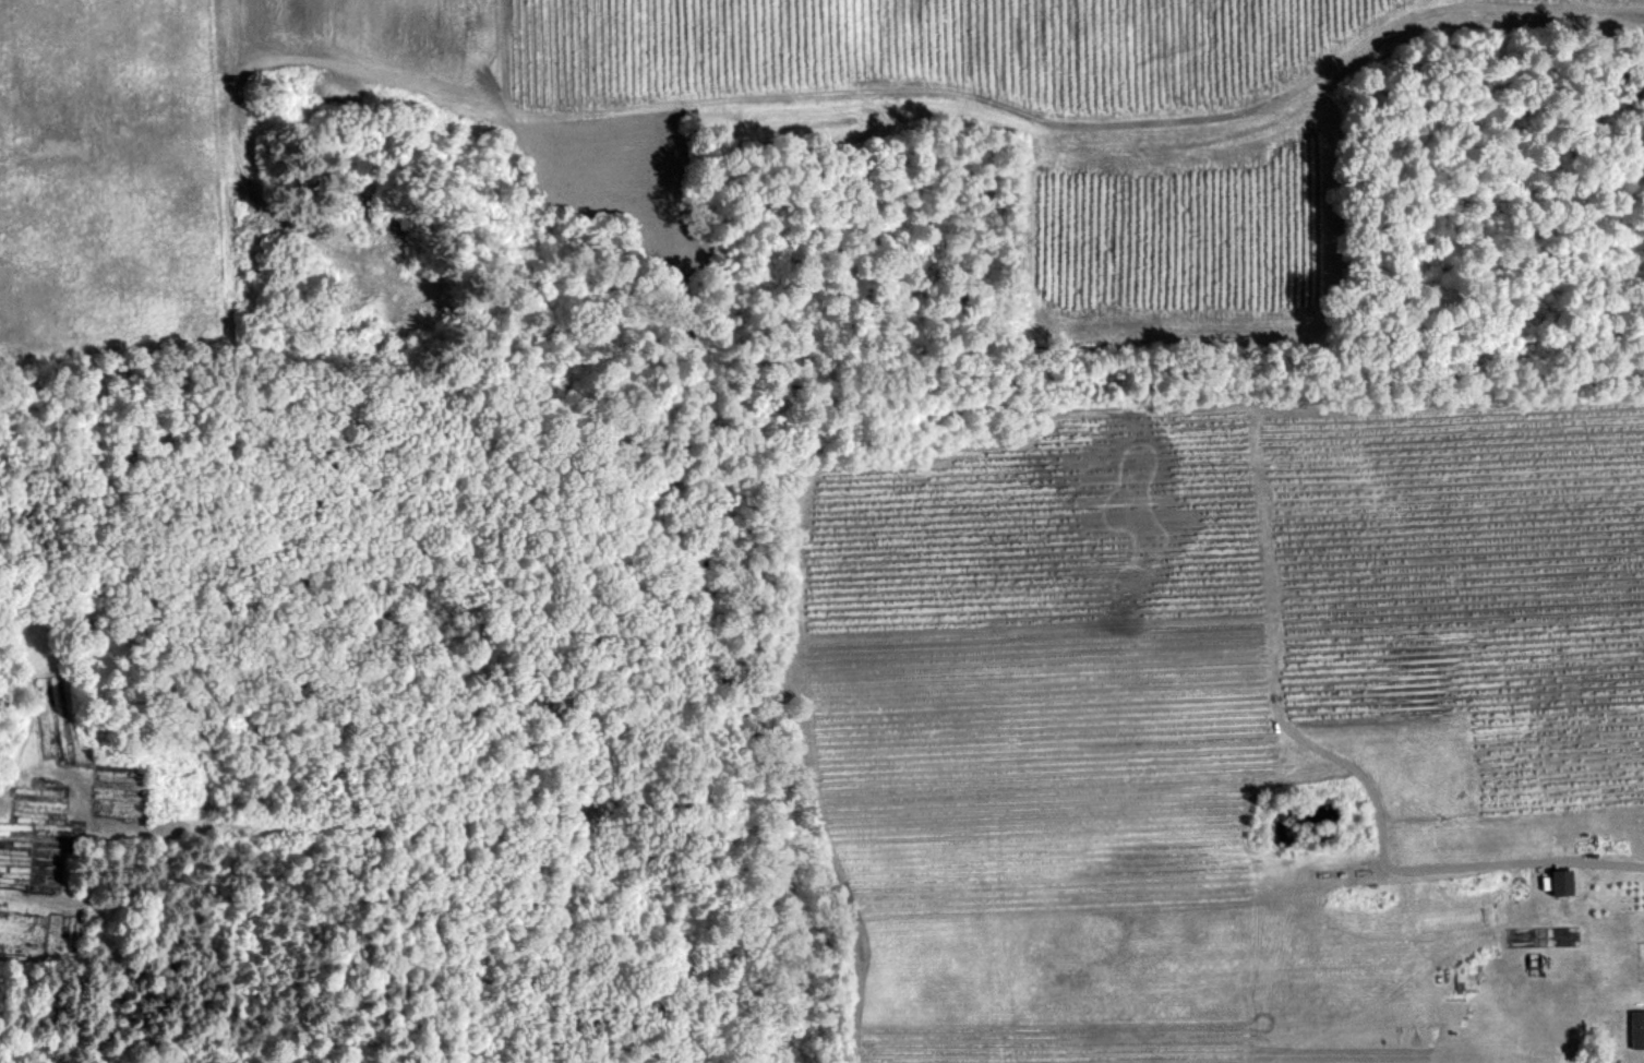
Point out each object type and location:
road: (1521, 856)
building: (1559, 882)
building: (1636, 1029)

